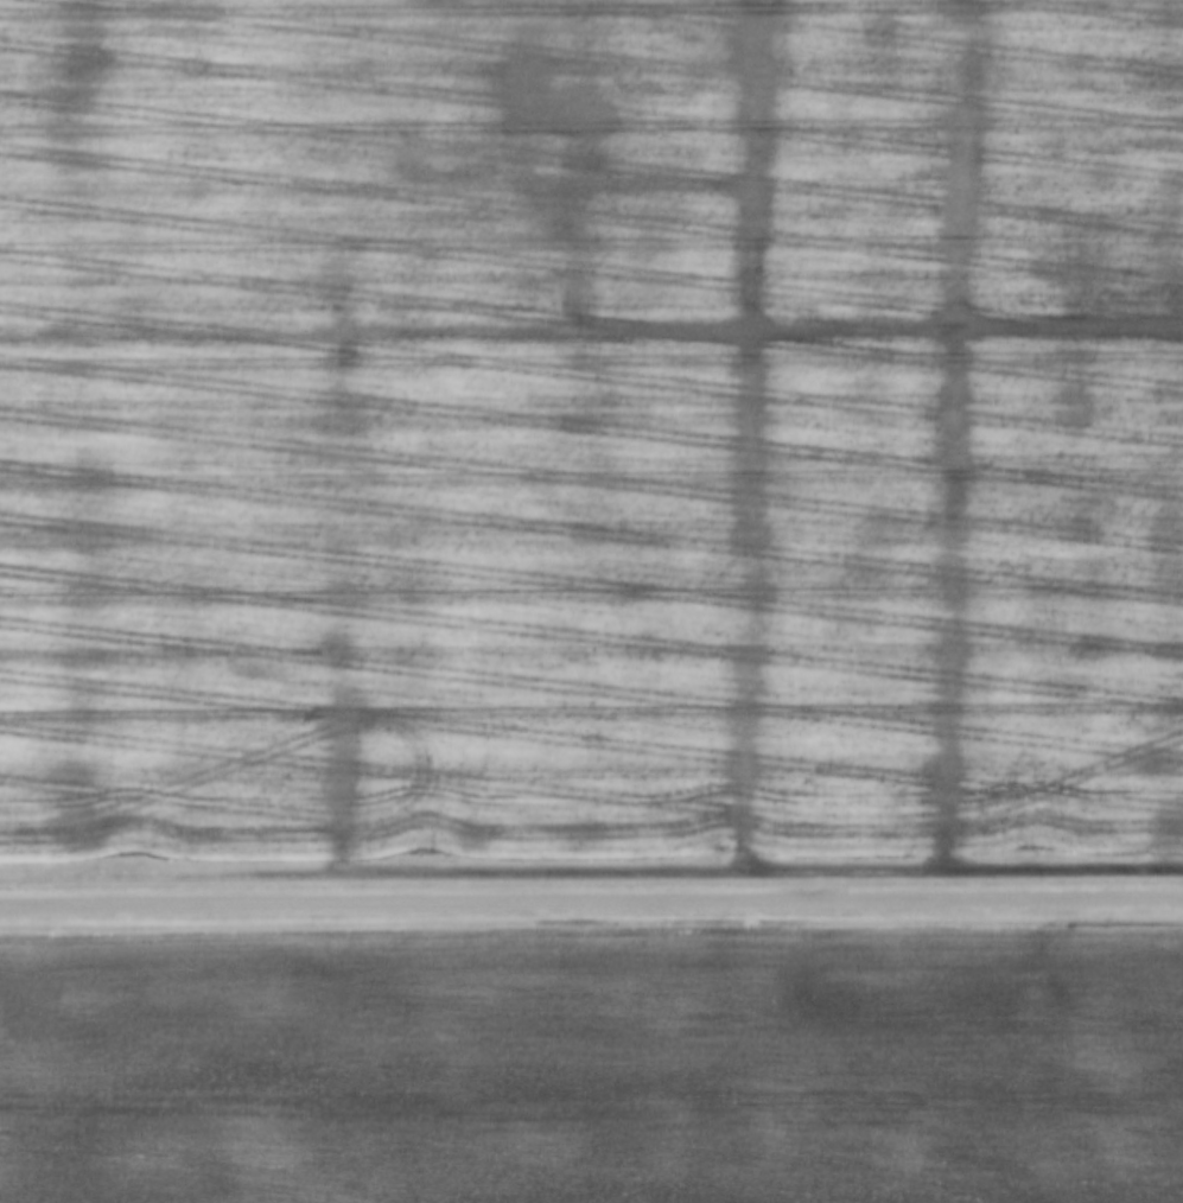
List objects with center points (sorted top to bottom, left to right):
crop: (590, 425)
road: (591, 898)
crop: (593, 1065)

